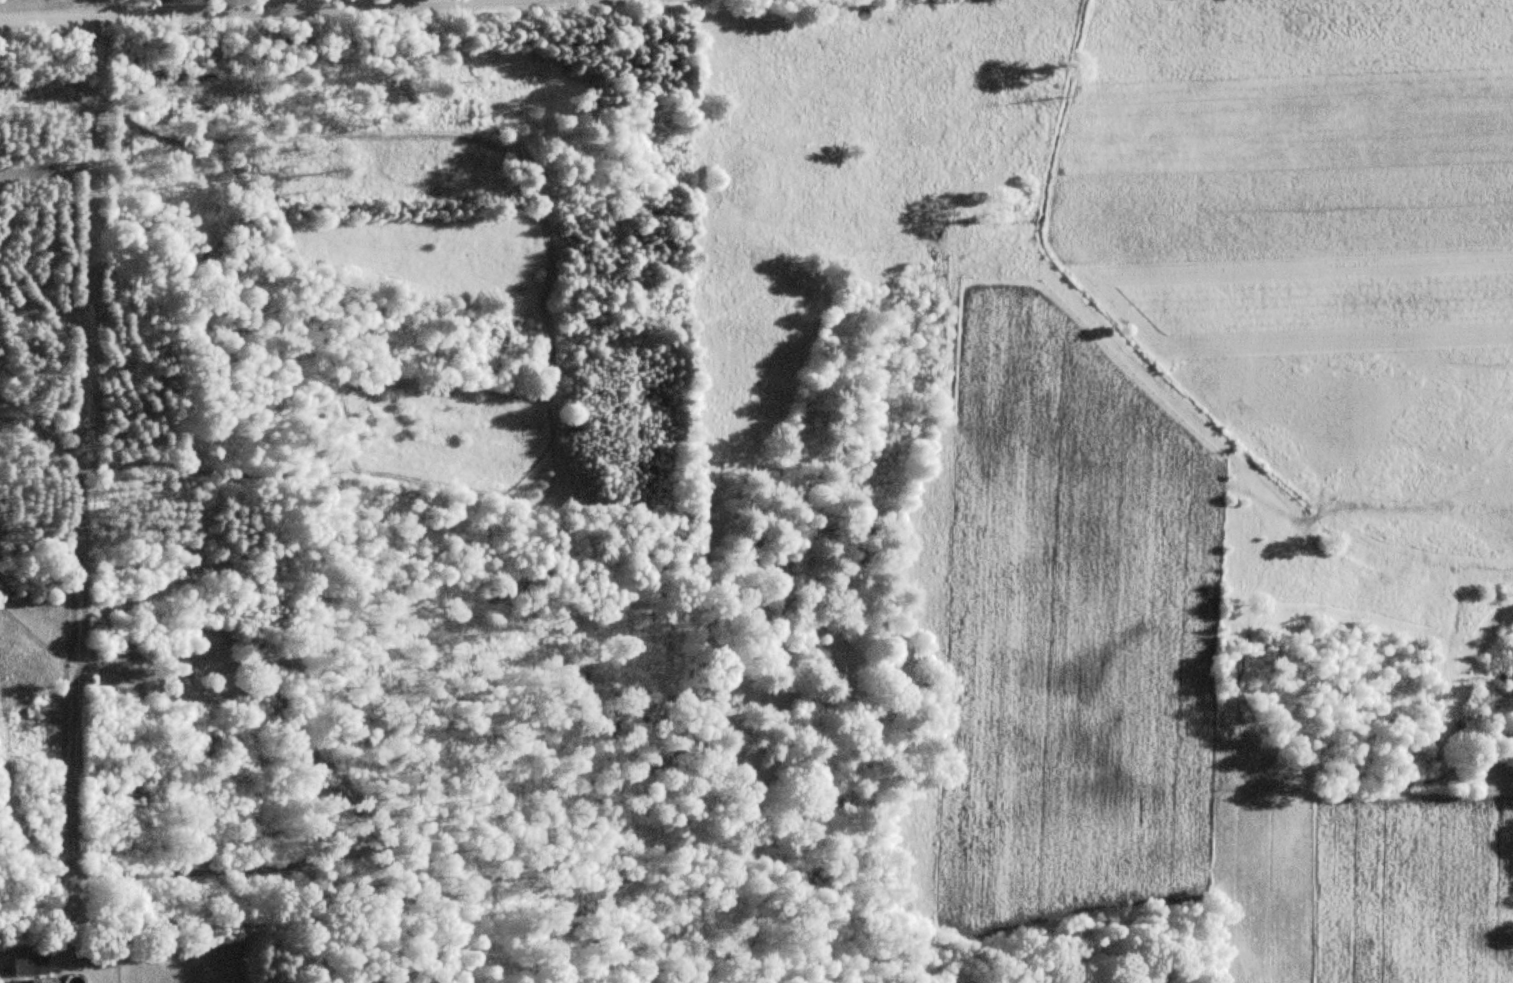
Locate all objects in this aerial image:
building: (29, 966)
building: (26, 981)

